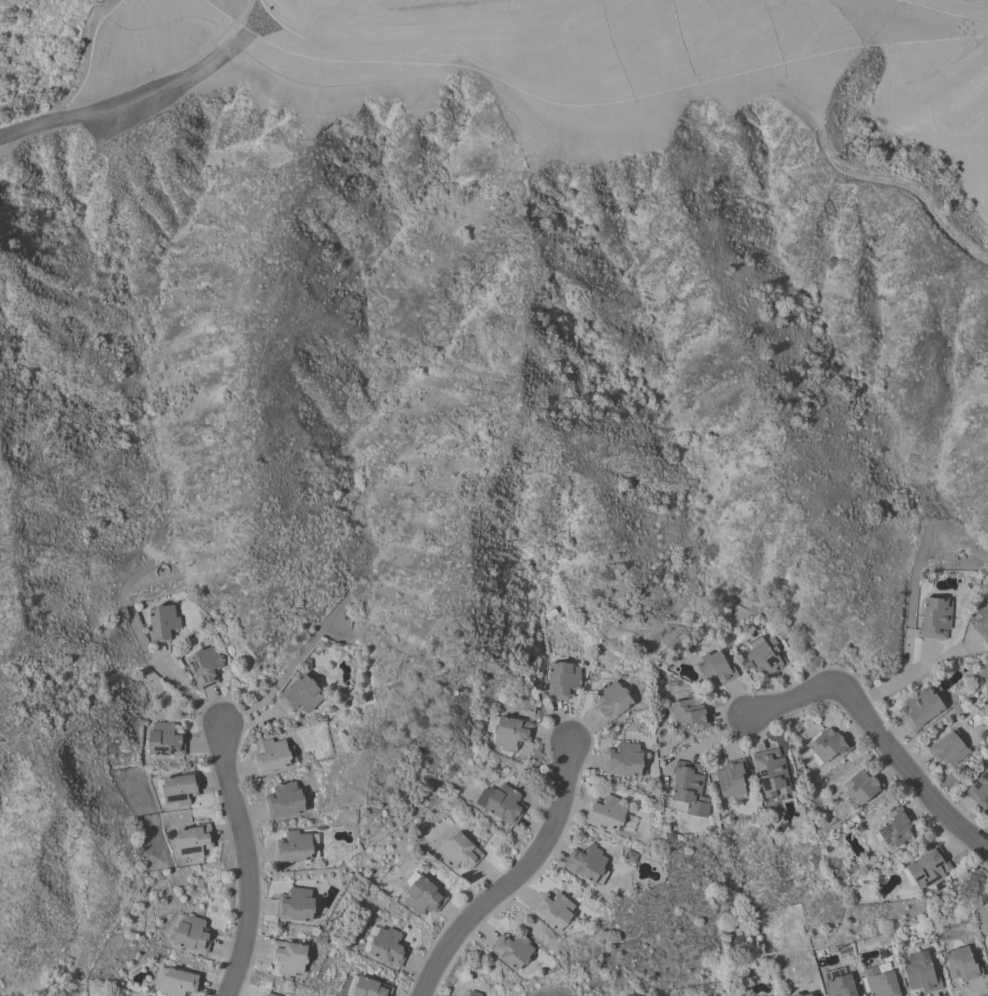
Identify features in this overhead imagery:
building: (934, 618)
building: (982, 620)
building: (162, 623)
building: (764, 656)
building: (204, 666)
building: (715, 668)
road: (158, 669)
road: (912, 674)
road: (280, 679)
building: (562, 680)
building: (300, 695)
building: (611, 701)
building: (920, 708)
building: (688, 713)
building: (508, 731)
road: (877, 738)
building: (165, 740)
building: (827, 746)
building: (948, 748)
building: (271, 756)
building: (624, 760)
building: (771, 773)
building: (730, 778)
building: (860, 786)
building: (179, 788)
building: (979, 789)
building: (687, 790)
building: (284, 801)
building: (501, 803)
building: (605, 812)
building: (892, 830)
building: (193, 840)
building: (293, 847)
building: (458, 852)
road: (243, 860)
building: (586, 864)
building: (927, 868)
road: (513, 879)
building: (422, 894)
building: (295, 905)
building: (553, 911)
building: (987, 931)
building: (191, 934)
building: (384, 945)
building: (511, 950)
building: (288, 957)
building: (961, 964)
building: (920, 973)
building: (178, 982)
building: (881, 982)
building: (837, 983)
building: (366, 987)
building: (473, 993)
building: (794, 994)
building: (270, 995)
building: (805, 995)

